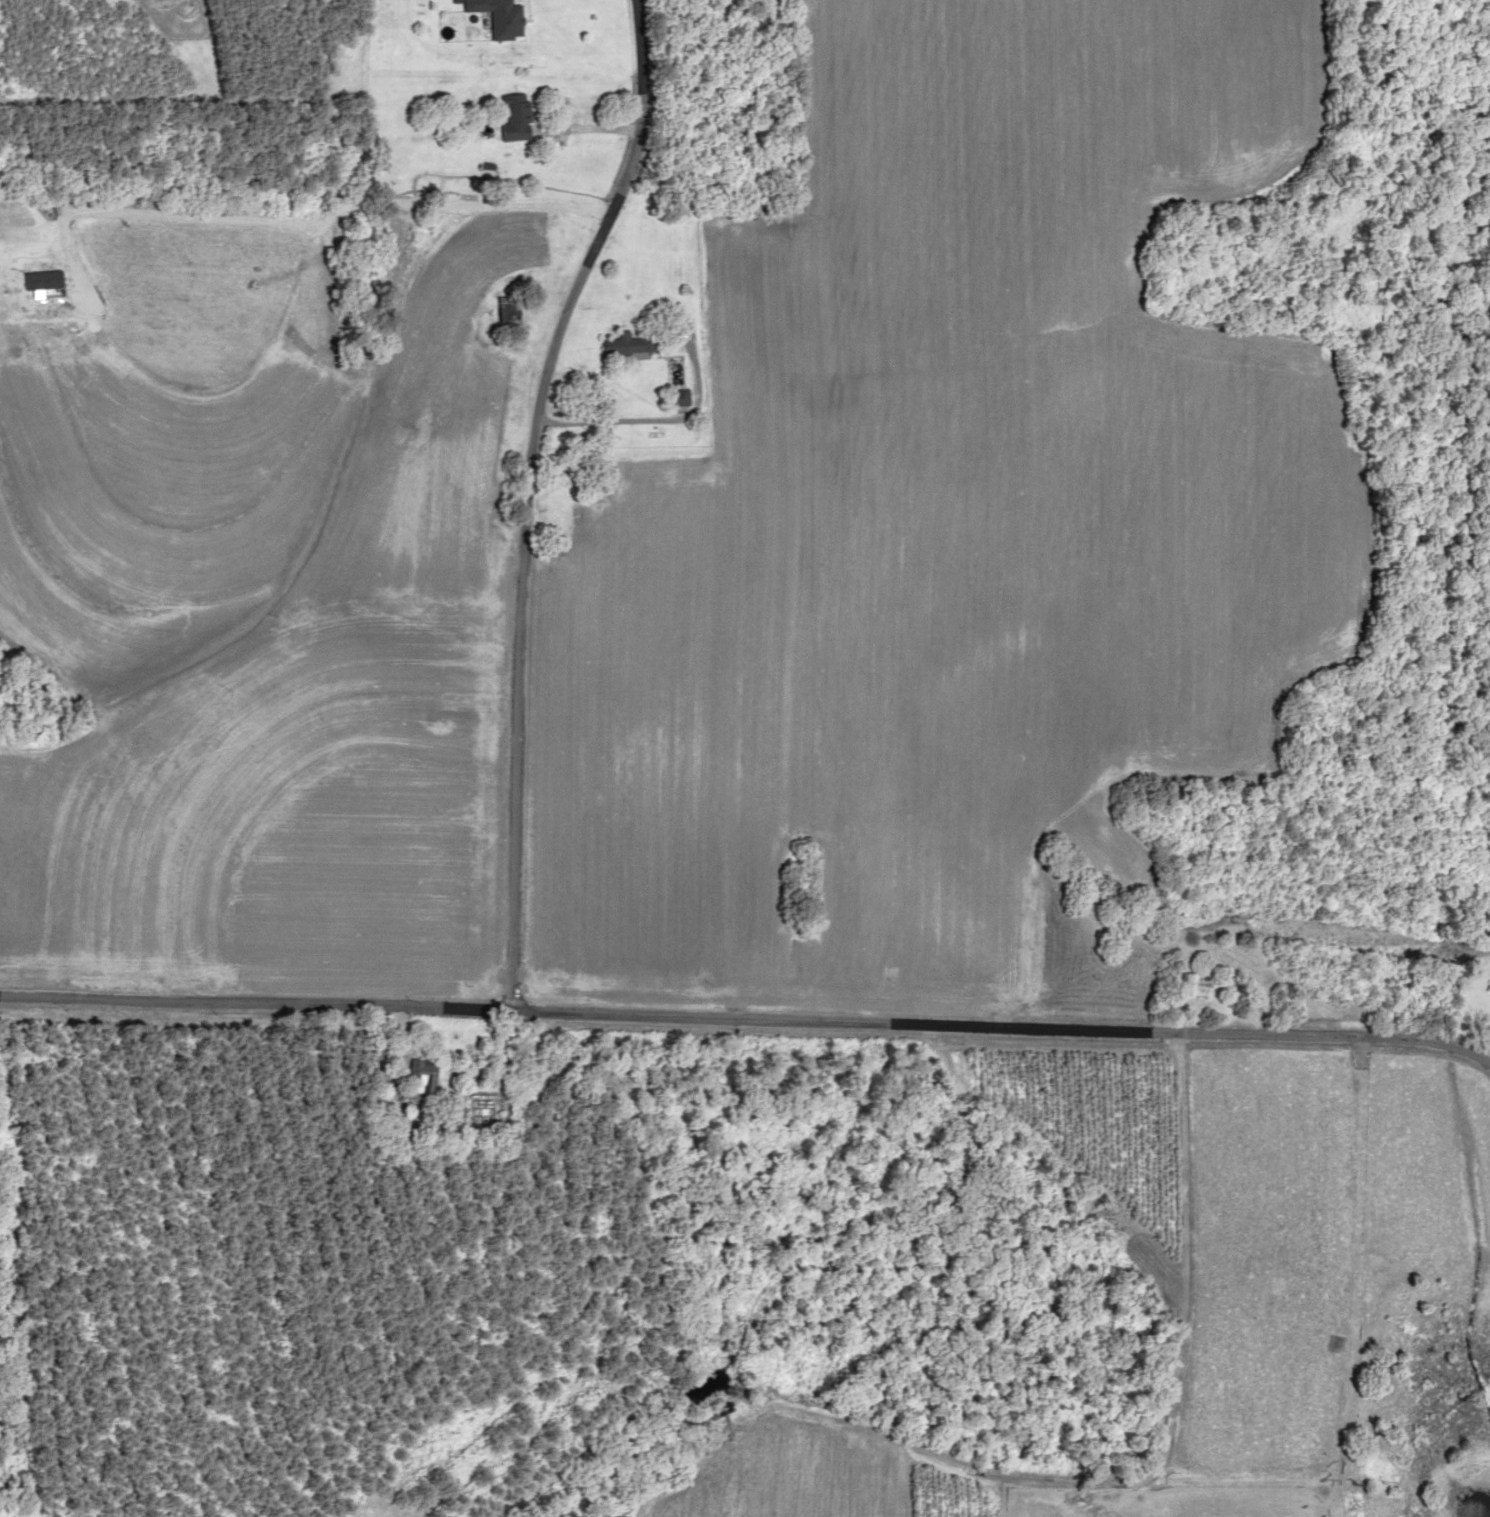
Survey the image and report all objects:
building: (498, 17)
building: (514, 116)
building: (504, 304)
building: (627, 344)
building: (676, 397)
road: (539, 503)
building: (1196, 985)
building: (1487, 985)
road: (745, 1038)
road: (1482, 1071)
building: (421, 1079)

